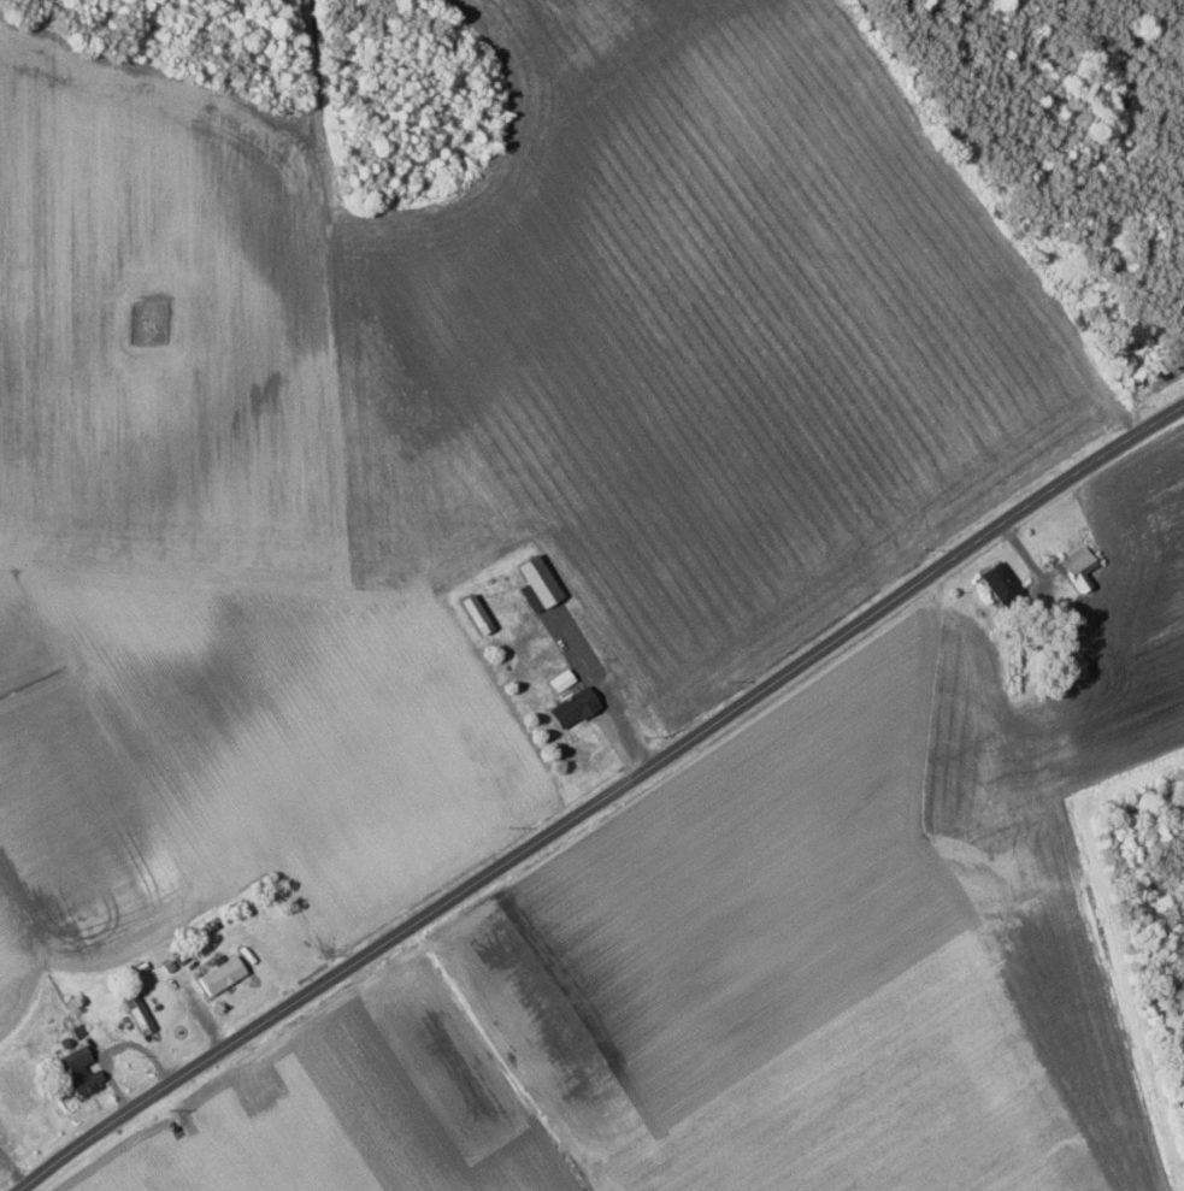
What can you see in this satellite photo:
building: (1077, 568)
building: (535, 584)
building: (1000, 585)
building: (473, 614)
road: (603, 691)
building: (571, 706)
road: (602, 802)
building: (219, 974)
building: (137, 1013)
building: (77, 1071)
road: (12, 1169)

